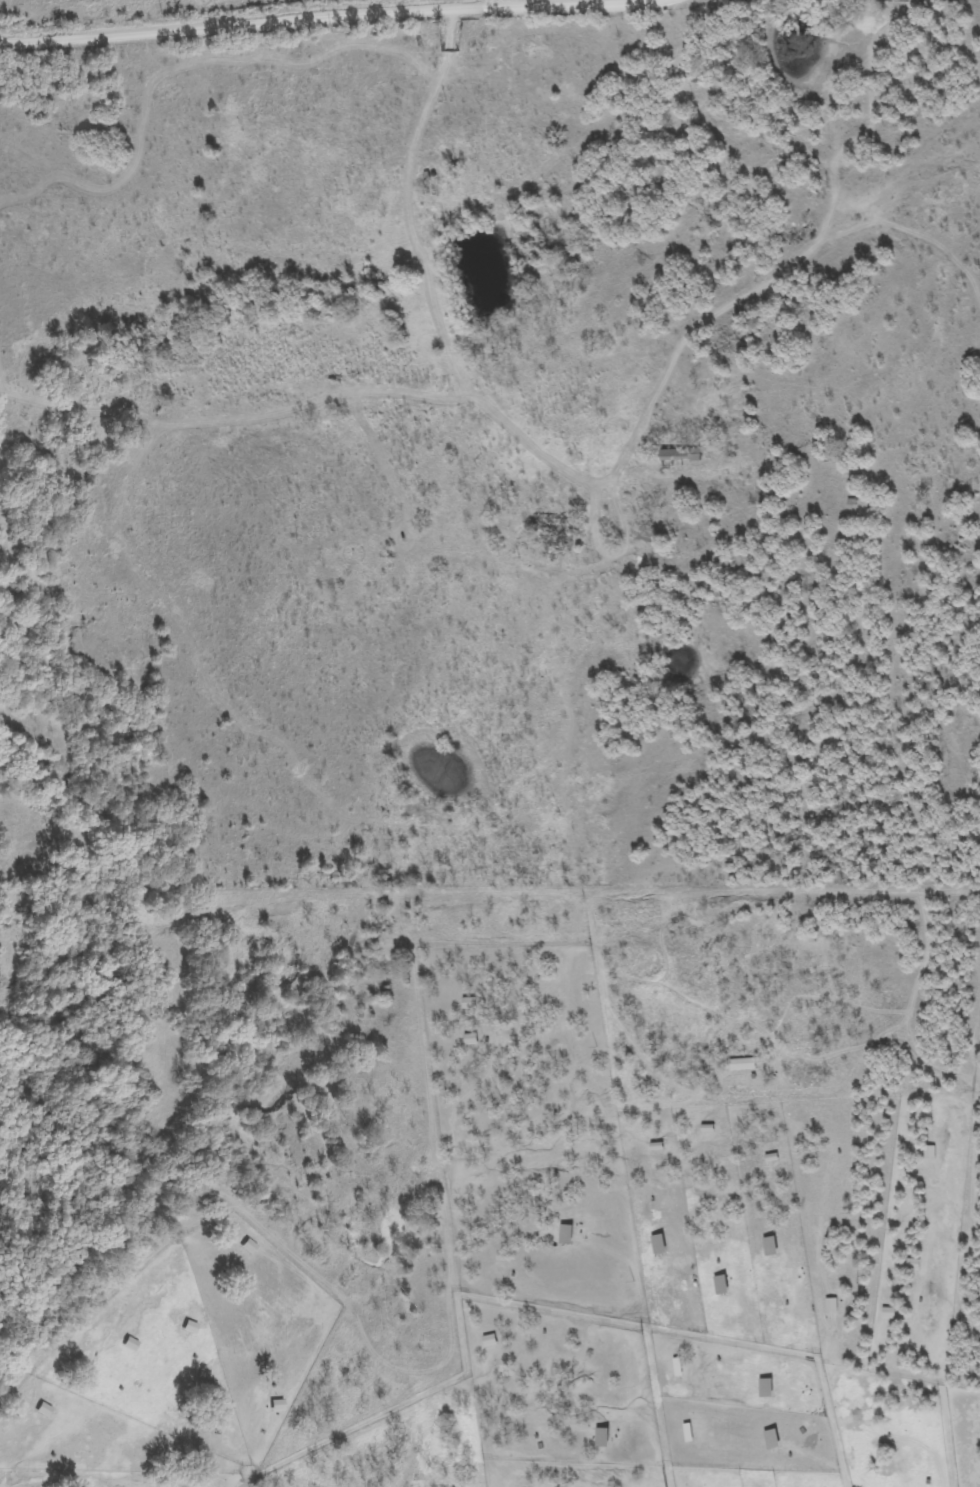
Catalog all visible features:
road: (316, 31)
building: (678, 454)
building: (543, 520)
building: (645, 533)
building: (563, 1233)
building: (655, 1243)
building: (767, 1245)
building: (248, 1246)
building: (717, 1284)
building: (129, 1344)
building: (762, 1387)
road: (654, 1408)
building: (44, 1410)
building: (600, 1436)
building: (769, 1438)

